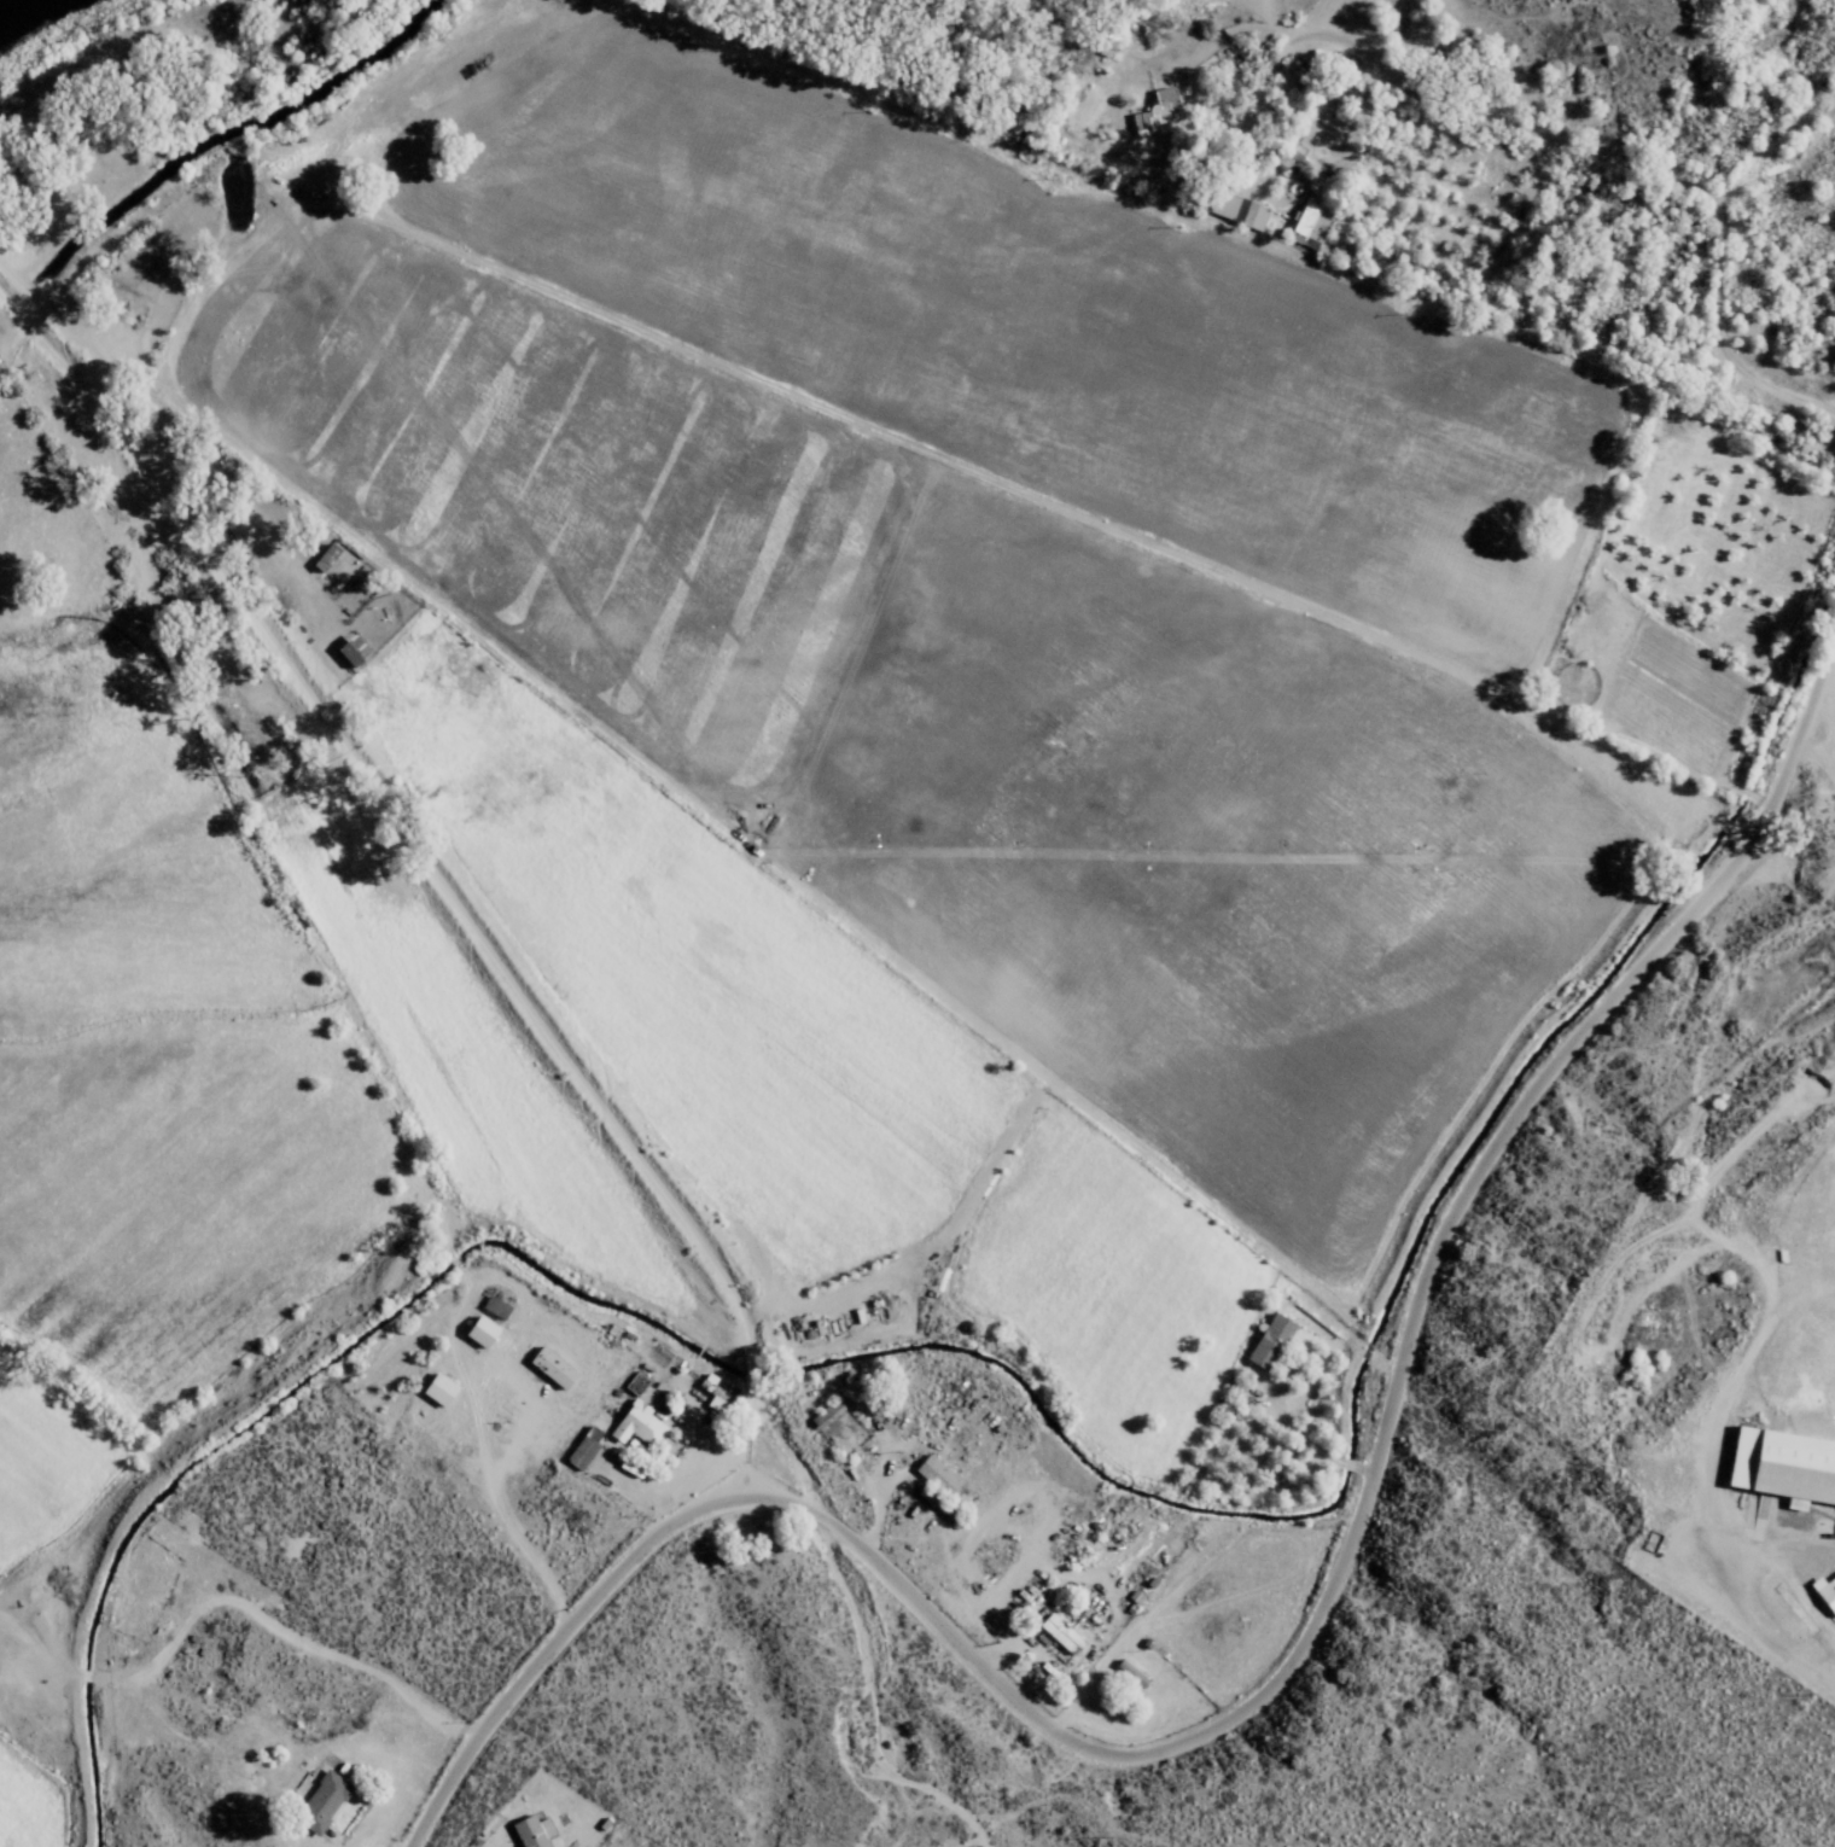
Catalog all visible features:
river: (12, 8)
building: (1106, 43)
building: (1155, 111)
road: (1667, 191)
building: (1236, 210)
building: (1306, 225)
road: (1041, 468)
building: (321, 557)
building: (348, 649)
road: (1452, 1281)
building: (495, 1301)
building: (477, 1329)
building: (1266, 1340)
building: (1298, 1340)
building: (548, 1365)
building: (634, 1382)
building: (717, 1387)
building: (436, 1388)
building: (635, 1422)
building: (581, 1447)
building: (1782, 1467)
building: (936, 1474)
building: (1824, 1591)
road: (14, 1596)
building: (1059, 1632)
road: (1298, 1633)
building: (1129, 1673)
road: (217, 1694)
building: (319, 1801)
building: (530, 1831)

